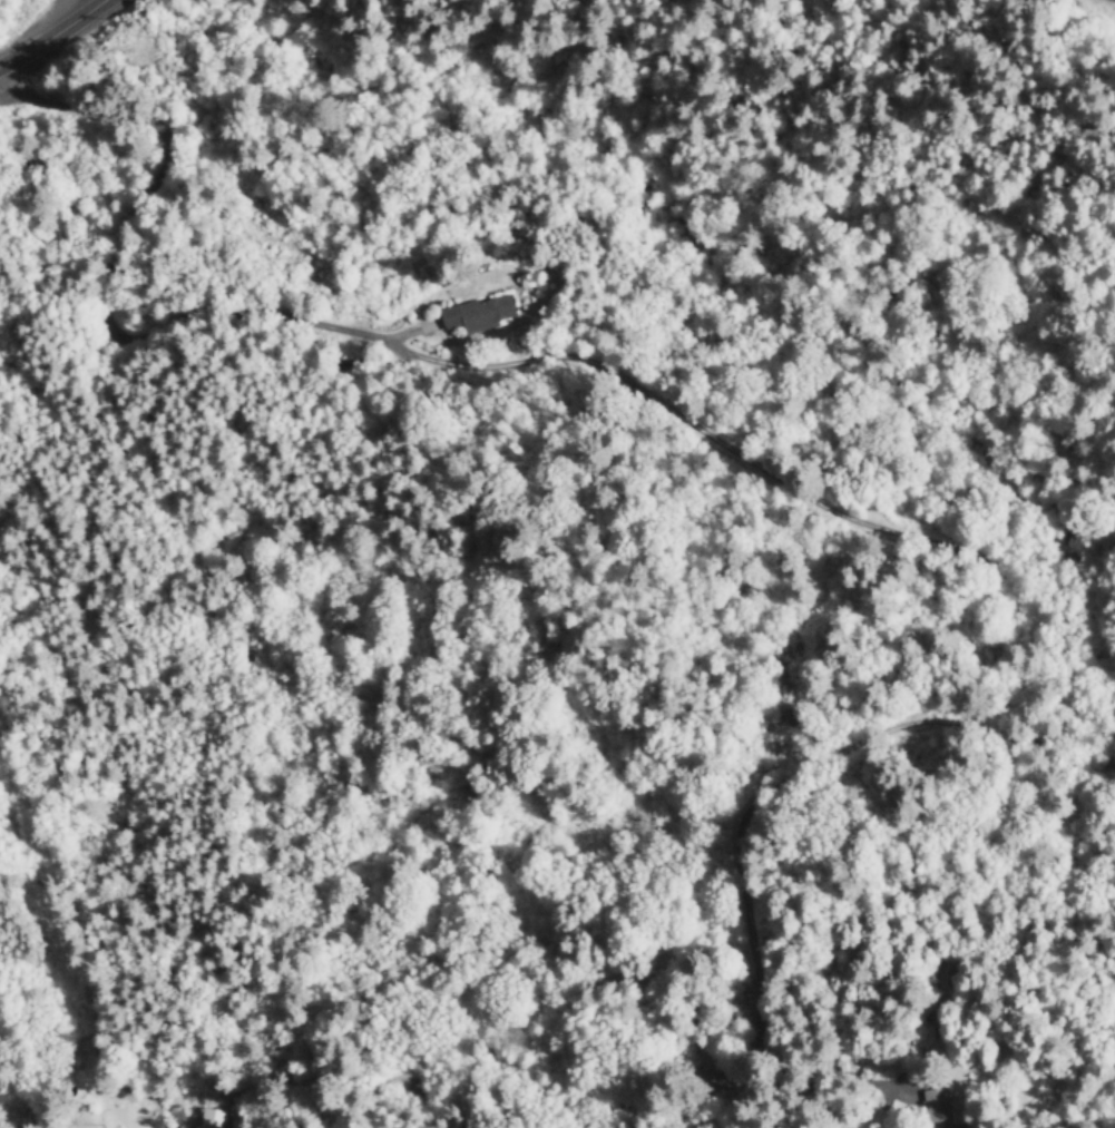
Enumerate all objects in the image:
road: (507, 32)
road: (1060, 33)
road: (58, 38)
building: (478, 313)
road: (632, 395)
road: (620, 971)
building: (939, 1108)
building: (213, 1118)

